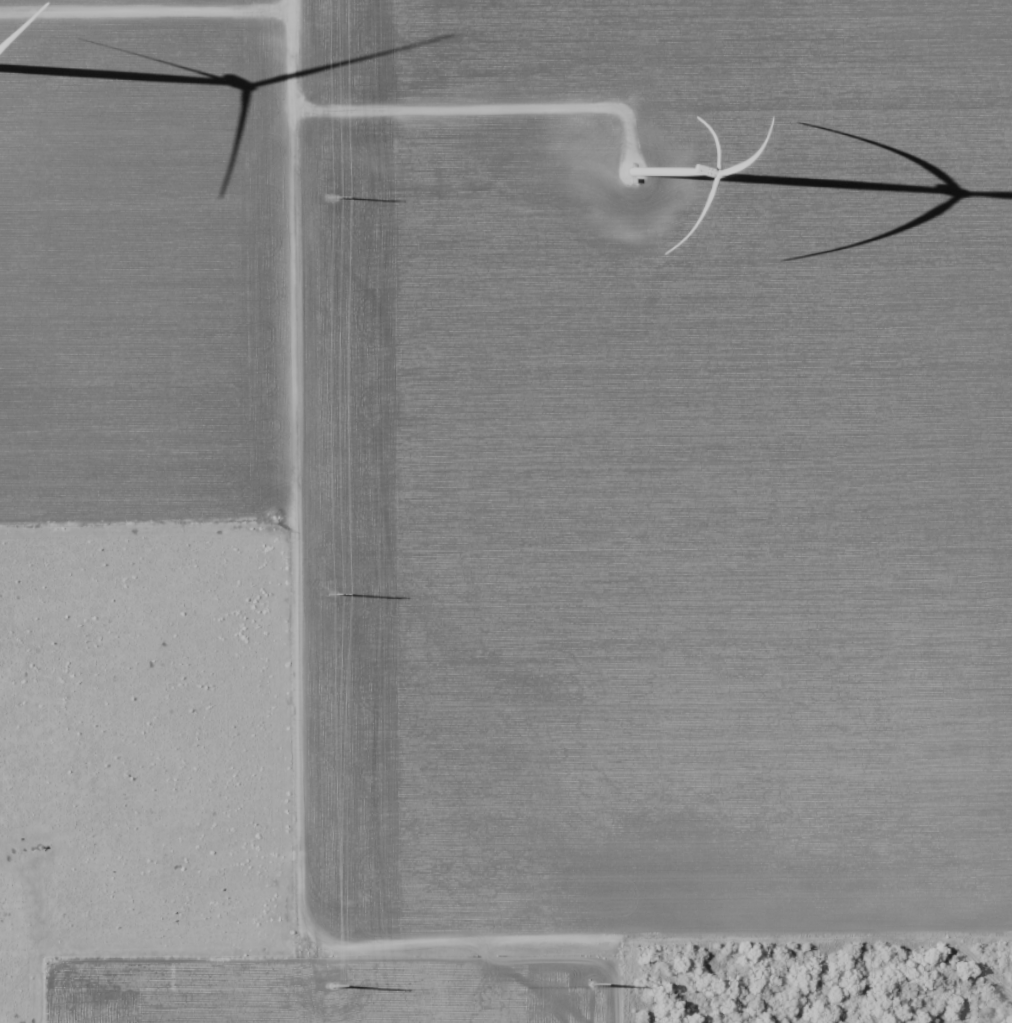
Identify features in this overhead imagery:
wind turbine: (637, 167)
power tower: (334, 197)
road: (268, 511)
power tower: (334, 590)
road: (134, 893)

